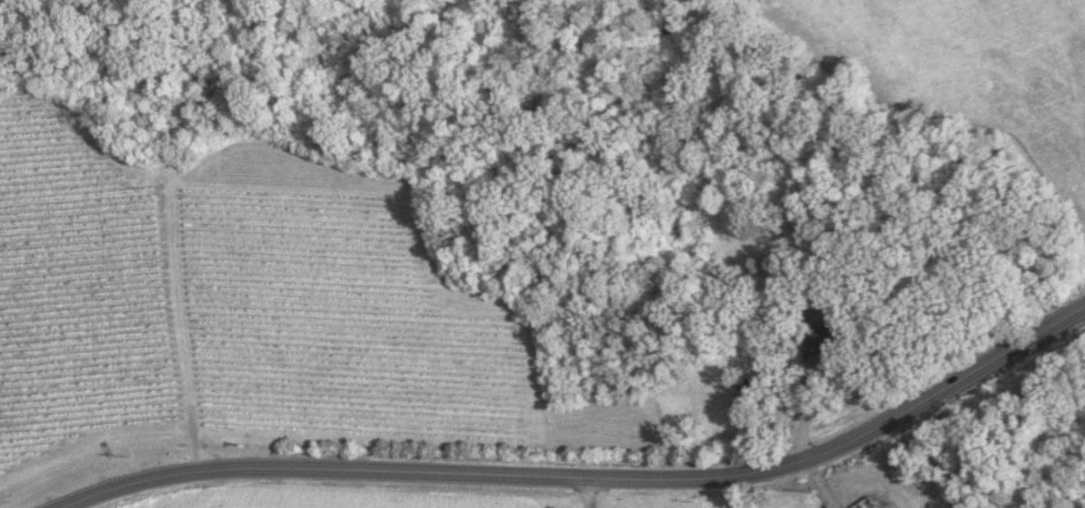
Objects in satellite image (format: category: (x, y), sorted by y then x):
building: (813, 345)
road: (1002, 354)
road: (495, 473)
road: (581, 491)
building: (868, 504)

